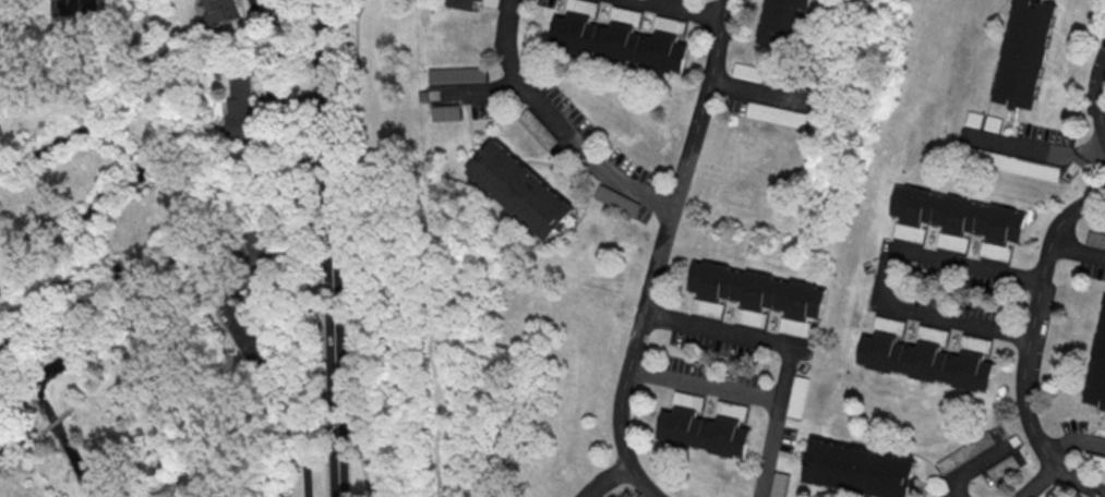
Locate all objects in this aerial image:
building: (463, 4)
road: (678, 8)
building: (218, 11)
building: (783, 24)
building: (616, 44)
building: (1022, 53)
building: (745, 72)
road: (756, 92)
building: (239, 100)
road: (1097, 104)
building: (773, 116)
building: (972, 119)
road: (556, 123)
building: (990, 123)
building: (537, 128)
road: (1034, 151)
building: (1007, 163)
building: (519, 191)
building: (617, 199)
building: (954, 216)
building: (1095, 240)
road: (326, 248)
road: (358, 248)
building: (251, 251)
road: (1076, 251)
road: (657, 252)
road: (937, 257)
building: (754, 291)
road: (958, 322)
road: (744, 335)
road: (1025, 347)
building: (923, 362)
building: (1097, 368)
road: (700, 386)
road: (271, 390)
building: (794, 397)
building: (701, 433)
road: (1073, 440)
road: (766, 449)
building: (964, 452)
building: (1093, 461)
building: (1002, 468)
road: (971, 469)
building: (857, 471)
road: (603, 480)
road: (1036, 482)
building: (776, 485)

